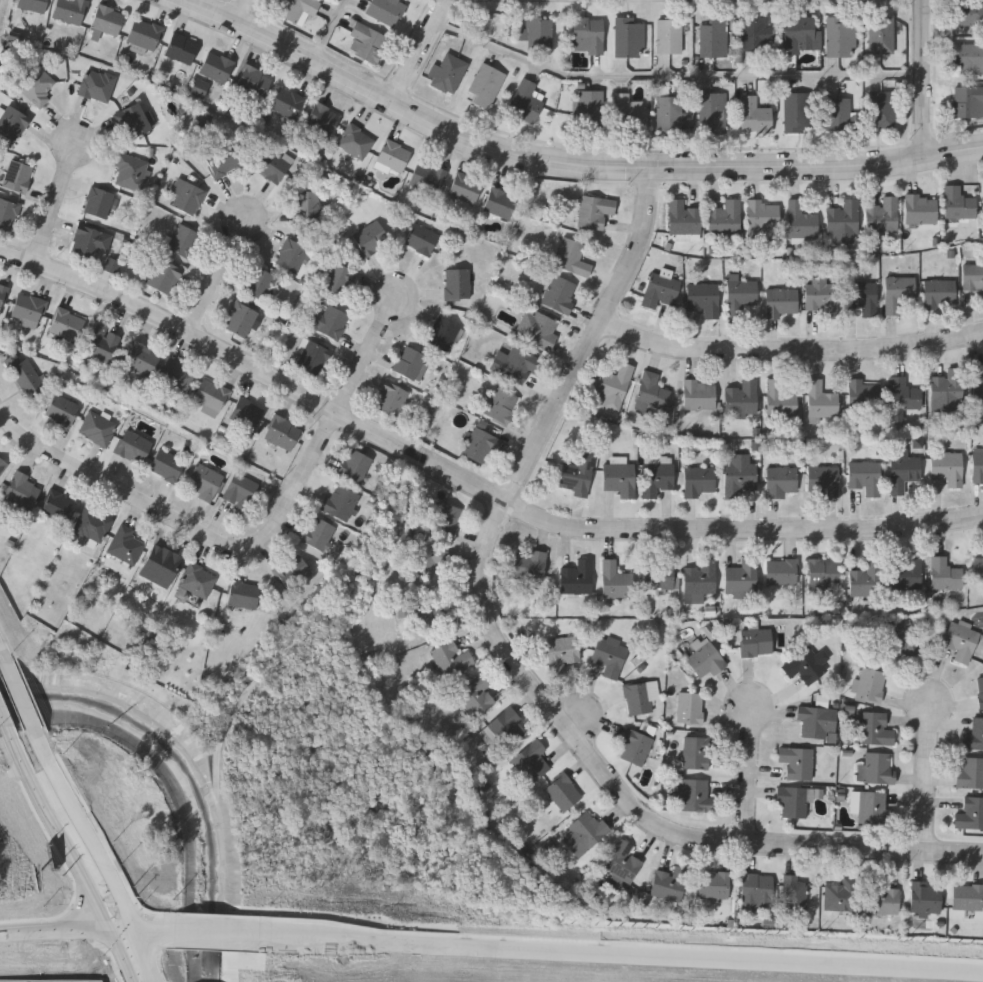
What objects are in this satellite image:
building: (32, 4)
building: (296, 8)
building: (70, 9)
building: (384, 10)
road: (244, 11)
building: (969, 12)
building: (107, 17)
road: (329, 30)
building: (144, 32)
building: (539, 33)
building: (756, 33)
building: (881, 33)
building: (588, 34)
building: (801, 34)
building: (669, 35)
building: (841, 35)
building: (629, 36)
building: (713, 37)
building: (366, 41)
building: (181, 46)
road: (422, 50)
building: (967, 57)
building: (216, 64)
building: (447, 72)
road: (675, 74)
building: (253, 79)
road: (925, 79)
building: (37, 83)
building: (97, 84)
building: (486, 84)
building: (200, 88)
building: (287, 99)
building: (967, 100)
building: (524, 101)
building: (590, 108)
building: (881, 108)
building: (796, 111)
building: (628, 112)
building: (712, 112)
building: (669, 113)
building: (837, 113)
building: (753, 115)
building: (322, 116)
building: (134, 117)
building: (203, 120)
building: (12, 121)
building: (356, 138)
building: (393, 153)
building: (222, 158)
building: (272, 163)
road: (563, 165)
building: (131, 168)
building: (17, 174)
building: (427, 175)
building: (465, 185)
building: (189, 196)
building: (500, 200)
building: (958, 200)
building: (99, 201)
building: (306, 203)
road: (57, 205)
building: (921, 207)
building: (595, 209)
building: (7, 211)
building: (883, 213)
building: (683, 215)
building: (725, 215)
building: (762, 215)
building: (801, 218)
building: (843, 219)
building: (371, 236)
building: (421, 236)
building: (183, 238)
building: (89, 239)
building: (291, 253)
building: (572, 255)
building: (110, 265)
building: (164, 274)
building: (338, 276)
road: (219, 277)
building: (974, 278)
building: (259, 281)
building: (457, 281)
building: (660, 288)
building: (898, 290)
building: (2, 291)
building: (939, 291)
building: (560, 292)
building: (821, 292)
building: (741, 294)
building: (862, 295)
building: (704, 296)
building: (782, 299)
building: (28, 307)
building: (240, 316)
building: (333, 320)
building: (66, 323)
building: (537, 327)
building: (444, 332)
building: (102, 340)
road: (792, 347)
road: (370, 355)
building: (142, 356)
building: (313, 356)
building: (411, 361)
building: (517, 361)
building: (24, 372)
building: (176, 374)
building: (978, 379)
building: (614, 383)
building: (948, 384)
building: (651, 390)
building: (863, 391)
building: (699, 392)
building: (903, 392)
building: (211, 393)
building: (741, 395)
building: (390, 397)
building: (821, 397)
building: (780, 399)
building: (502, 403)
building: (62, 408)
building: (246, 410)
building: (97, 426)
building: (282, 430)
building: (480, 443)
building: (134, 444)
building: (167, 462)
building: (2, 463)
building: (354, 463)
building: (978, 463)
building: (947, 465)
building: (903, 467)
building: (578, 471)
building: (740, 471)
building: (660, 473)
building: (866, 475)
building: (620, 476)
building: (700, 479)
building: (782, 479)
building: (823, 479)
building: (204, 480)
road: (470, 481)
building: (23, 488)
building: (241, 489)
building: (341, 499)
building: (59, 503)
road: (506, 507)
building: (446, 514)
building: (92, 523)
road: (190, 527)
building: (318, 531)
building: (126, 542)
building: (422, 551)
building: (162, 559)
building: (529, 563)
building: (978, 567)
building: (782, 569)
building: (293, 570)
building: (945, 571)
building: (822, 572)
building: (906, 572)
building: (658, 574)
building: (577, 575)
building: (742, 575)
building: (701, 576)
building: (197, 578)
building: (615, 579)
building: (864, 579)
building: (243, 592)
building: (429, 610)
building: (960, 634)
building: (899, 635)
building: (756, 640)
building: (562, 647)
road: (1, 650)
building: (610, 653)
building: (450, 656)
building: (705, 656)
building: (805, 663)
building: (870, 684)
building: (980, 689)
building: (477, 693)
road: (21, 695)
building: (639, 696)
building: (690, 706)
building: (813, 719)
road: (5, 722)
building: (507, 725)
building: (874, 727)
building: (974, 733)
building: (635, 743)
building: (697, 750)
building: (531, 759)
building: (797, 760)
building: (876, 767)
building: (970, 771)
road: (749, 776)
road: (929, 778)
building: (563, 790)
building: (696, 793)
building: (792, 798)
building: (872, 804)
building: (970, 810)
building: (585, 830)
road: (61, 834)
road: (88, 836)
road: (813, 846)
building: (623, 860)
building: (670, 882)
building: (715, 882)
building: (757, 889)
building: (794, 890)
building: (842, 893)
building: (924, 895)
building: (968, 895)
building: (882, 896)
road: (69, 932)
traffic signals: (115, 934)
traffic signals: (138, 935)
road: (151, 935)
road: (311, 942)
road: (125, 958)
road: (148, 958)
road: (720, 961)

